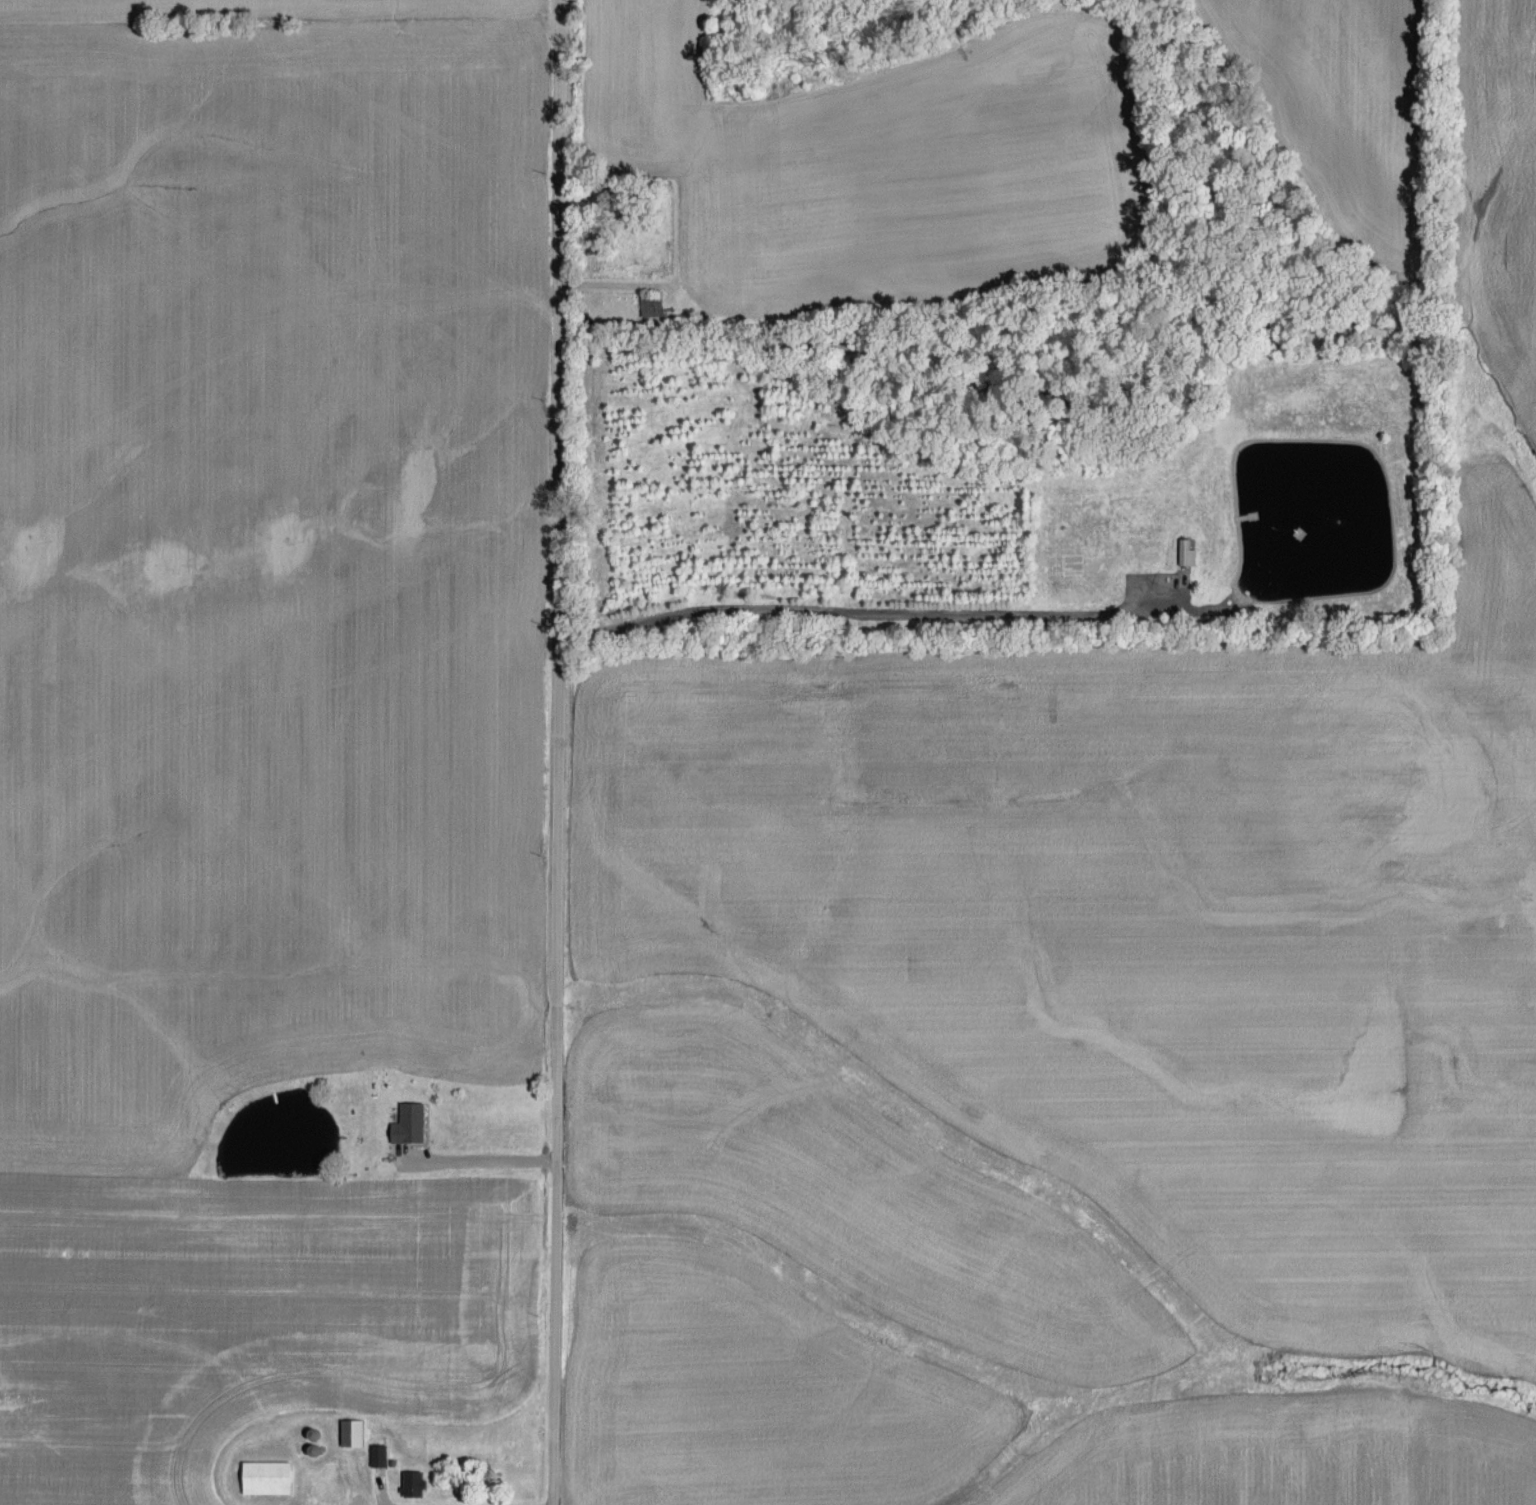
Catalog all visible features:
building: (650, 309)
road: (860, 613)
road: (549, 752)
building: (407, 1126)
road: (485, 1162)
building: (350, 1434)
building: (379, 1457)
building: (265, 1479)
building: (412, 1485)
road: (382, 1494)

